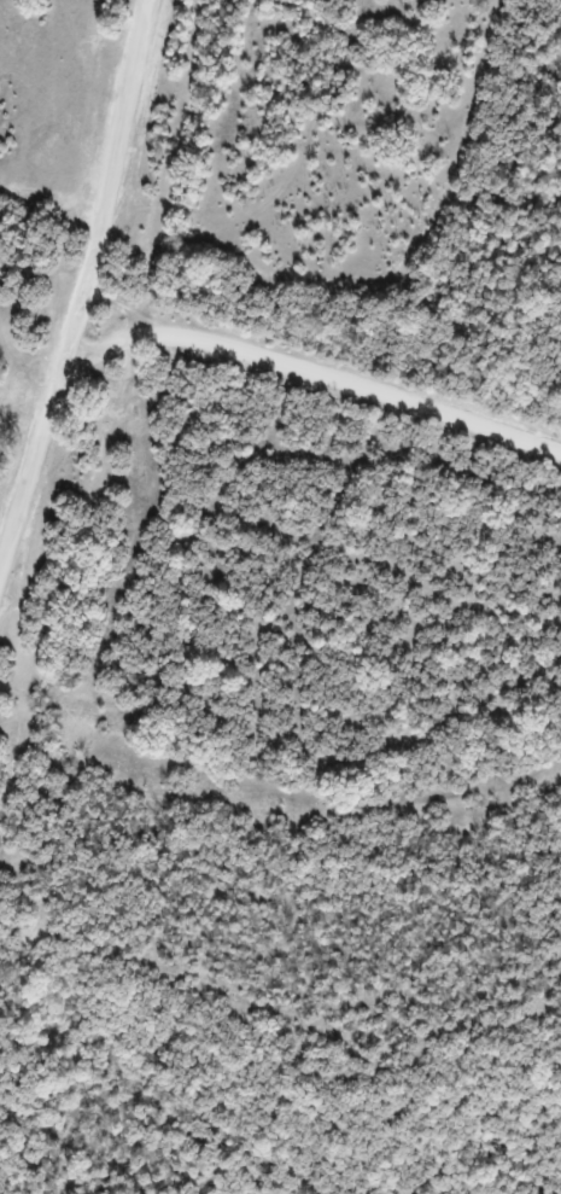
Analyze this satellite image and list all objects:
road: (104, 179)
road: (309, 374)
road: (29, 452)

